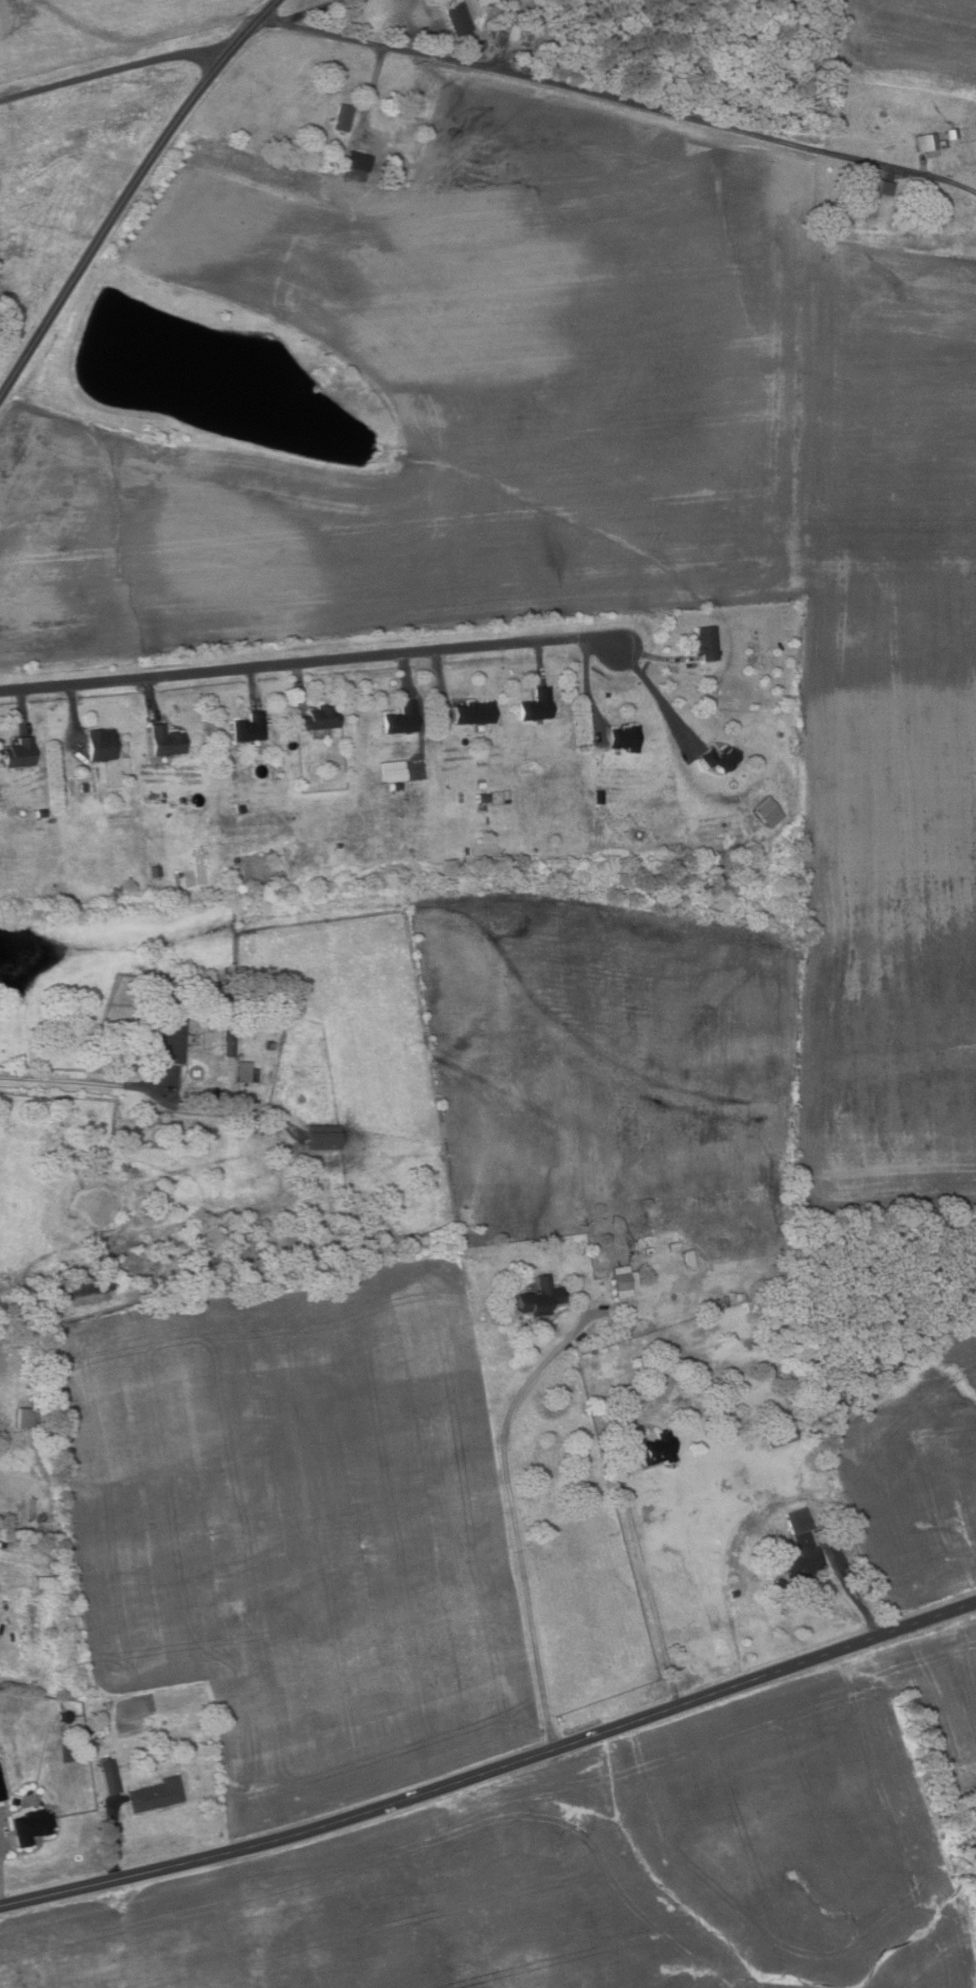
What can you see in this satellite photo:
building: (489, 3)
building: (454, 25)
building: (501, 38)
crop: (900, 43)
road: (438, 45)
road: (112, 79)
road: (373, 89)
road: (620, 99)
building: (342, 117)
building: (949, 135)
building: (926, 144)
building: (967, 152)
building: (356, 161)
building: (386, 167)
road: (129, 190)
building: (868, 195)
crop: (891, 389)
crop: (452, 395)
building: (705, 642)
road: (657, 656)
road: (310, 658)
road: (539, 661)
road: (406, 672)
road: (442, 682)
road: (254, 685)
road: (299, 685)
road: (588, 689)
road: (656, 693)
road: (151, 696)
building: (535, 705)
road: (22, 709)
building: (473, 711)
road: (74, 717)
building: (316, 718)
building: (400, 718)
building: (248, 727)
building: (623, 737)
building: (164, 740)
building: (100, 743)
building: (18, 753)
building: (716, 757)
building: (393, 769)
building: (481, 784)
building: (396, 787)
building: (83, 788)
building: (483, 798)
building: (598, 804)
building: (240, 808)
building: (770, 812)
building: (40, 813)
building: (754, 820)
building: (338, 845)
building: (156, 870)
crop: (889, 871)
building: (179, 874)
building: (171, 1033)
building: (227, 1034)
building: (246, 1072)
road: (86, 1082)
building: (323, 1137)
building: (622, 1282)
building: (79, 1284)
building: (539, 1296)
building: (23, 1417)
building: (782, 1436)
building: (656, 1449)
crop: (917, 1473)
building: (797, 1520)
road: (513, 1524)
crop: (300, 1531)
building: (800, 1562)
building: (41, 1582)
road: (845, 1585)
road: (647, 1591)
building: (30, 1624)
road: (493, 1770)
building: (109, 1775)
building: (2, 1790)
building: (154, 1794)
building: (31, 1826)
road: (116, 1841)
crop: (600, 1865)

